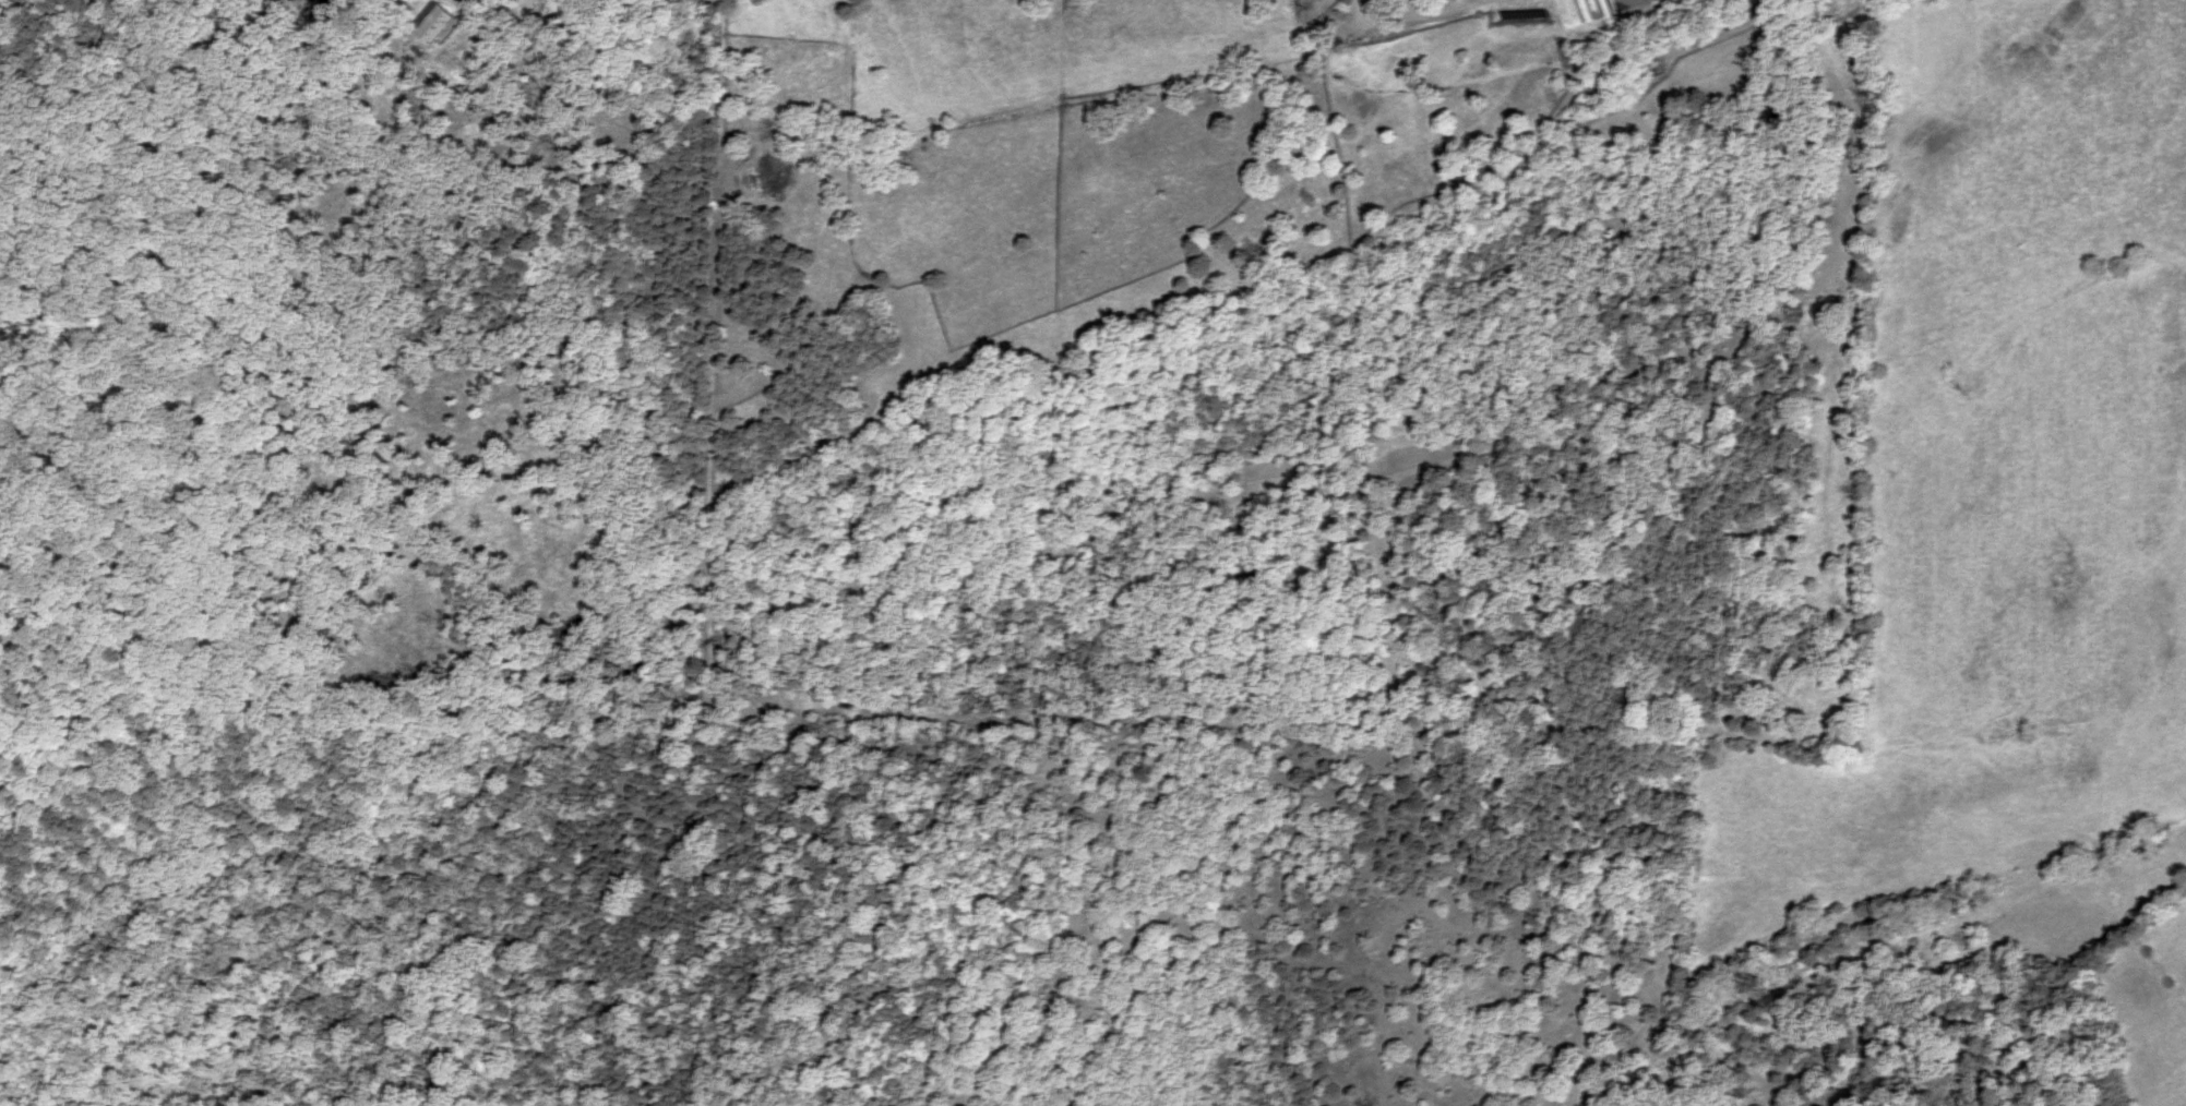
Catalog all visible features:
road: (1444, 15)
road: (577, 849)

